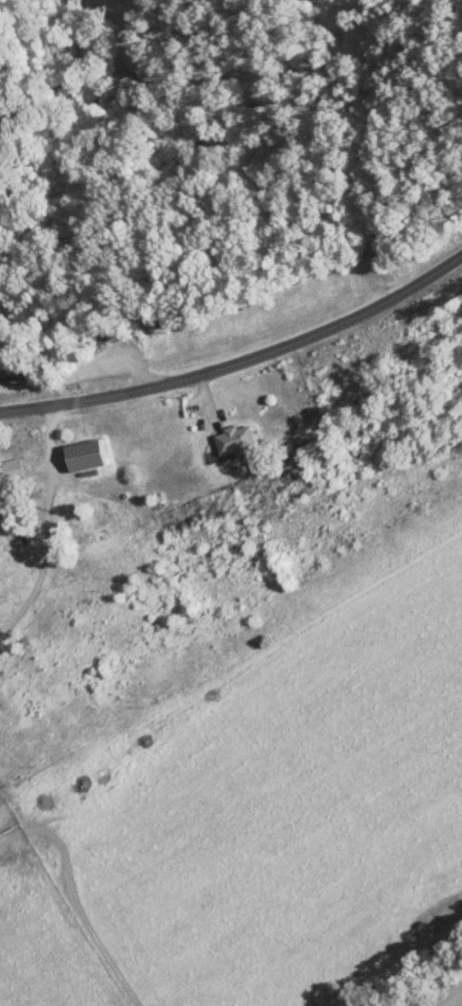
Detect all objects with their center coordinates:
road: (76, 343)
road: (240, 359)
building: (235, 439)
building: (11, 469)

